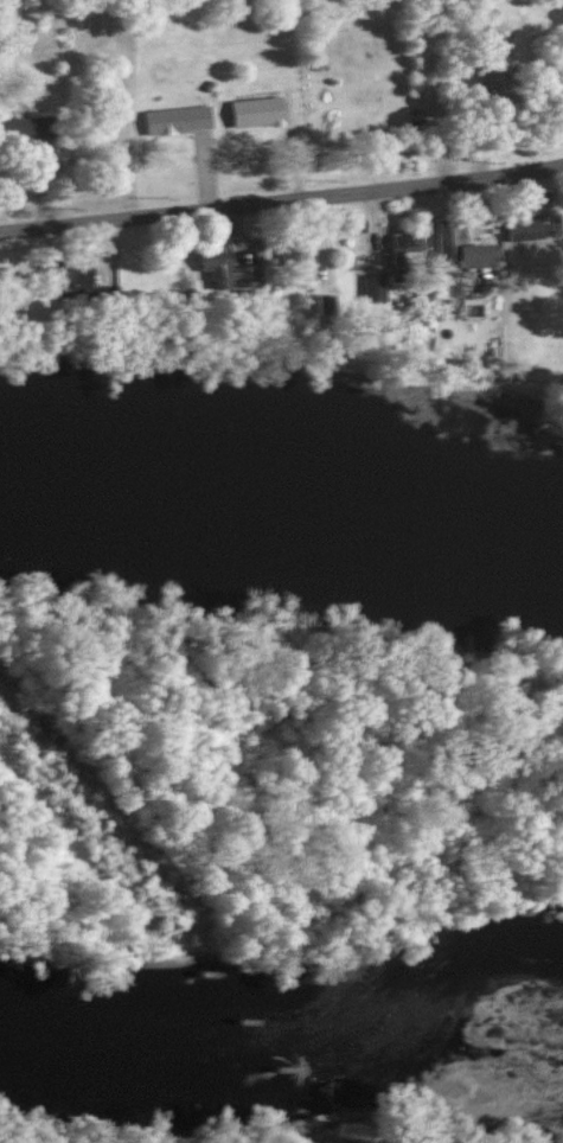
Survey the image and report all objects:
building: (493, 76)
building: (510, 79)
building: (269, 114)
building: (192, 123)
building: (40, 135)
road: (281, 197)
building: (536, 226)
building: (396, 245)
building: (260, 248)
building: (474, 251)
building: (415, 257)
building: (219, 268)
building: (64, 281)
building: (371, 288)
building: (383, 290)
building: (486, 306)
building: (338, 308)
river: (281, 494)
river: (281, 1071)

